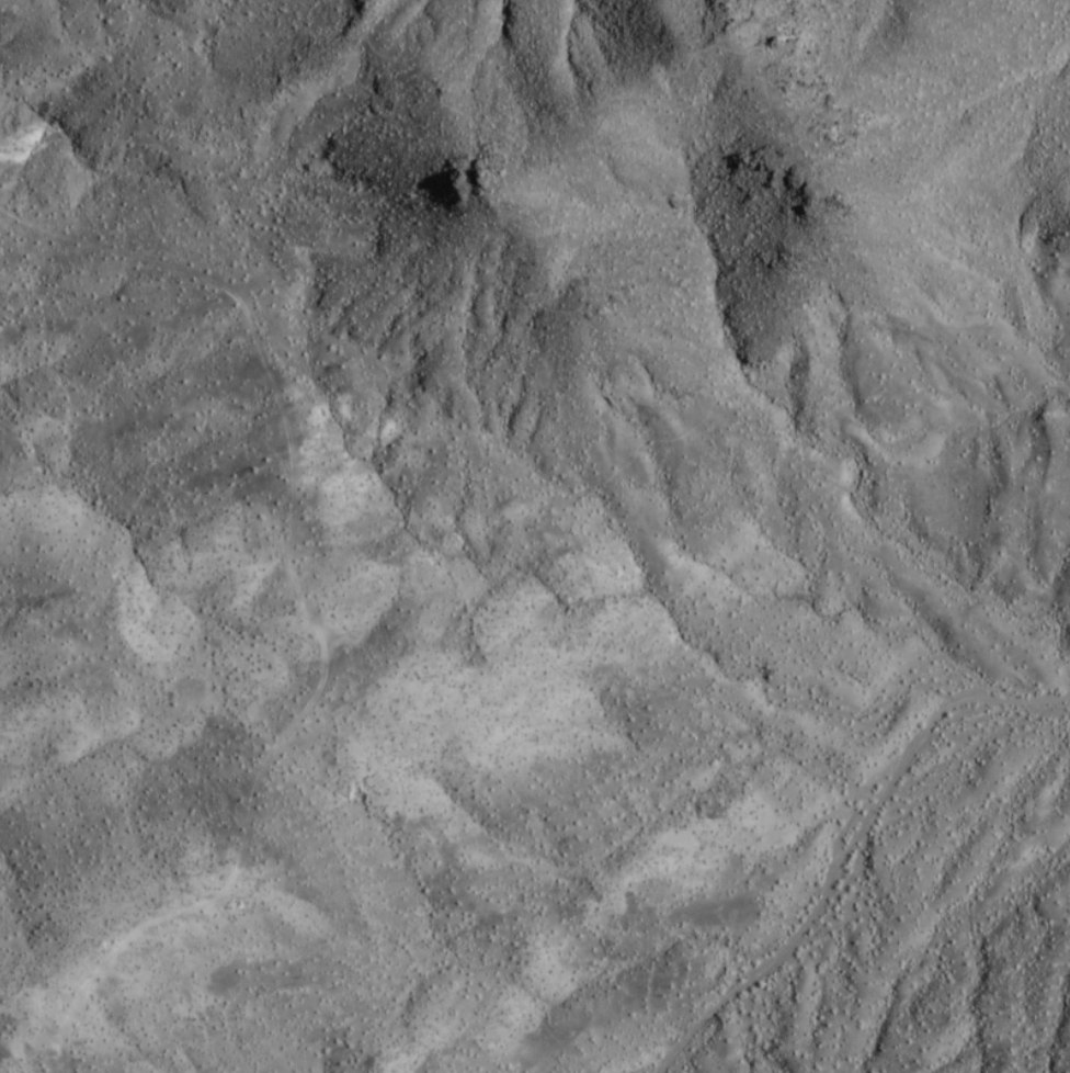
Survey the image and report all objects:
road: (856, 856)

